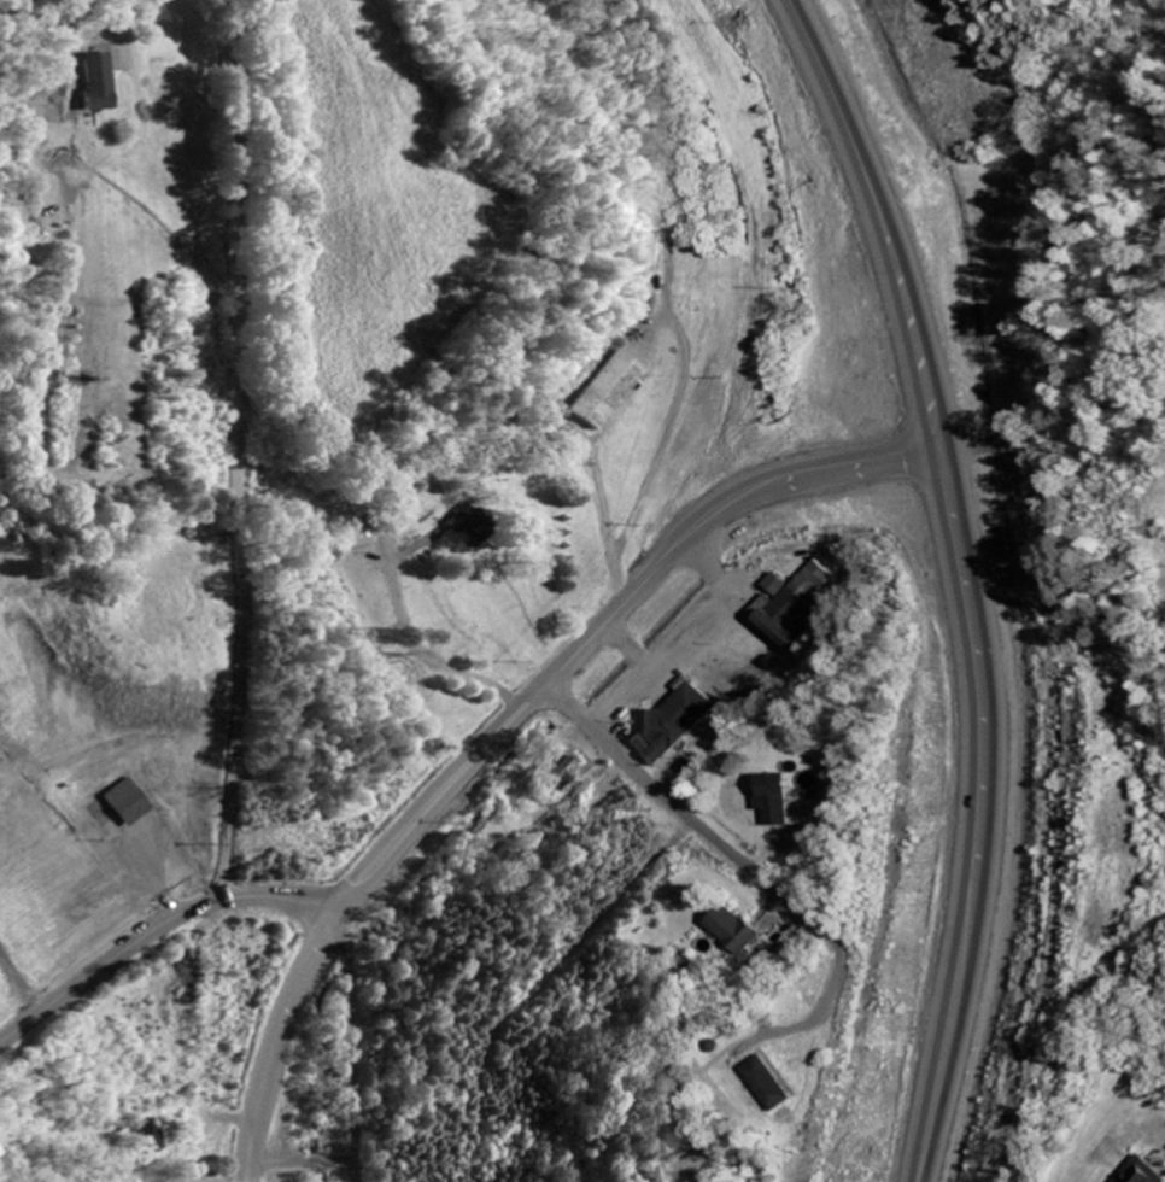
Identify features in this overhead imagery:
building: (100, 83)
building: (655, 253)
building: (607, 393)
road: (240, 449)
building: (469, 534)
road: (955, 581)
building: (794, 609)
building: (675, 725)
road: (503, 728)
building: (568, 771)
building: (778, 802)
building: (129, 804)
road: (680, 812)
road: (148, 931)
building: (740, 934)
road: (19, 982)
road: (359, 1045)
building: (779, 1088)
building: (150, 1137)
building: (1146, 1171)

